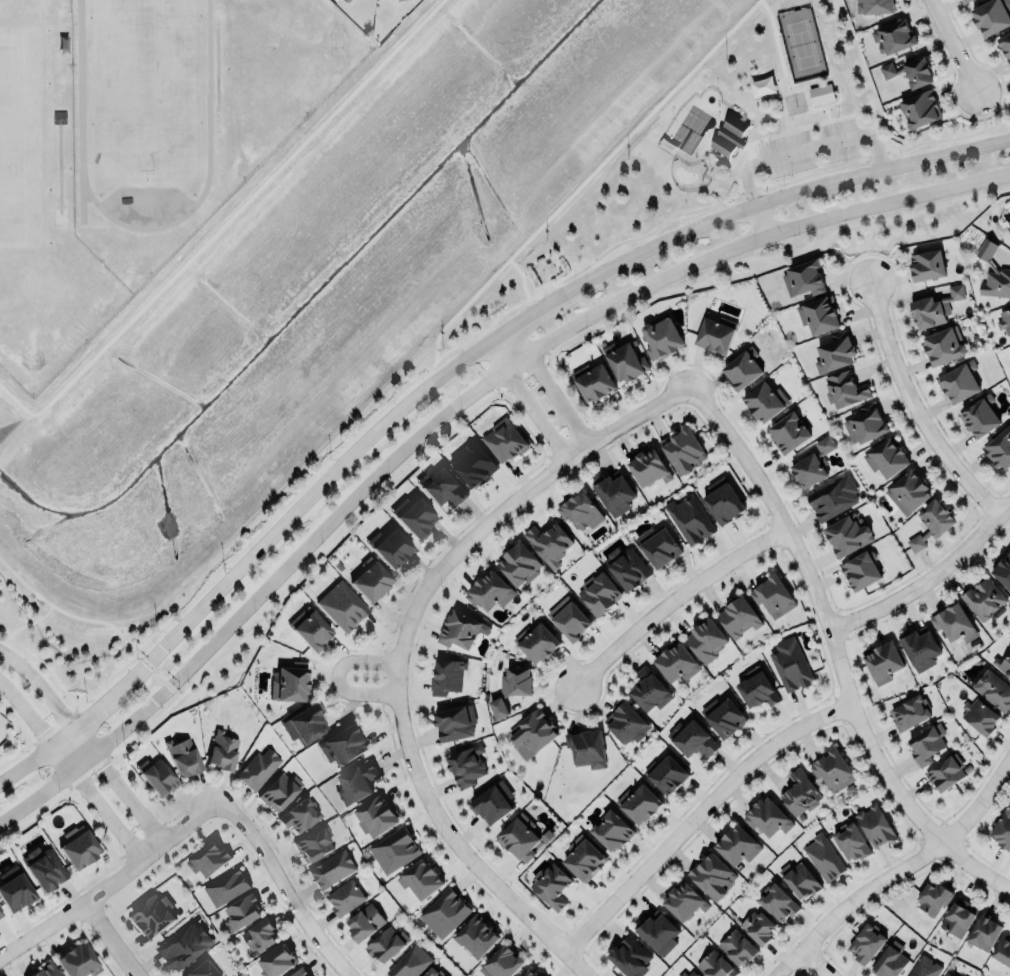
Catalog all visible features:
building: (346, 0)
building: (401, 0)
building: (966, 1)
building: (875, 6)
building: (992, 16)
building: (894, 38)
park: (802, 44)
building: (1005, 46)
road: (950, 48)
building: (911, 72)
building: (820, 94)
building: (920, 109)
road: (984, 120)
building: (730, 136)
water park: (701, 137)
parking lot: (809, 148)
road: (808, 149)
road: (761, 221)
building: (1009, 228)
road: (867, 243)
building: (985, 250)
building: (926, 265)
building: (803, 279)
building: (996, 283)
building: (935, 308)
building: (819, 315)
building: (1005, 321)
building: (716, 335)
building: (662, 338)
building: (944, 346)
building: (835, 355)
building: (628, 363)
road: (447, 367)
building: (742, 369)
building: (957, 381)
building: (593, 382)
road: (547, 383)
building: (844, 390)
road: (522, 400)
building: (765, 401)
road: (449, 407)
road: (914, 408)
building: (980, 417)
building: (865, 424)
building: (788, 433)
building: (505, 441)
building: (1000, 449)
building: (685, 452)
building: (888, 459)
building: (473, 464)
building: (813, 465)
building: (649, 469)
building: (441, 487)
building: (909, 493)
building: (614, 494)
building: (834, 498)
building: (724, 504)
road: (501, 508)
building: (581, 511)
building: (415, 517)
building: (689, 517)
building: (932, 524)
building: (848, 535)
building: (550, 544)
building: (390, 547)
building: (661, 548)
building: (519, 565)
building: (626, 567)
building: (861, 571)
building: (1003, 571)
road: (927, 575)
building: (371, 579)
building: (489, 591)
building: (773, 593)
building: (599, 594)
road: (669, 597)
building: (984, 598)
building: (342, 606)
road: (822, 613)
building: (738, 618)
building: (572, 622)
building: (953, 623)
building: (310, 628)
building: (461, 630)
building: (705, 639)
building: (537, 642)
traffic signals: (160, 646)
building: (920, 649)
road: (359, 659)
building: (676, 661)
building: (883, 662)
building: (790, 663)
building: (1003, 663)
building: (446, 676)
building: (290, 681)
building: (516, 682)
building: (756, 686)
building: (649, 688)
building: (994, 689)
road: (358, 693)
traffic signals: (153, 701)
building: (909, 713)
building: (979, 716)
building: (723, 717)
building: (626, 721)
building: (304, 722)
building: (456, 723)
building: (532, 732)
building: (692, 740)
road: (86, 741)
building: (926, 742)
building: (342, 744)
building: (587, 747)
building: (222, 749)
building: (183, 754)
building: (466, 763)
building: (258, 768)
building: (832, 768)
road: (70, 770)
building: (666, 772)
building: (946, 773)
building: (157, 776)
building: (357, 780)
building: (279, 791)
building: (800, 793)
building: (490, 804)
building: (638, 804)
building: (297, 813)
road: (694, 813)
building: (375, 814)
building: (767, 817)
building: (875, 824)
building: (1002, 827)
building: (612, 829)
building: (523, 836)
building: (851, 840)
building: (313, 842)
building: (737, 844)
building: (79, 846)
building: (394, 849)
road: (459, 852)
building: (583, 856)
building: (207, 857)
building: (821, 858)
building: (44, 866)
building: (331, 868)
road: (896, 869)
road: (974, 869)
building: (711, 875)
building: (420, 877)
building: (799, 878)
road: (109, 882)
building: (551, 883)
building: (226, 885)
road: (282, 886)
building: (14, 888)
building: (933, 897)
building: (345, 898)
building: (777, 900)
building: (684, 901)
building: (445, 912)
building: (1, 913)
building: (241, 913)
building: (152, 915)
building: (958, 916)
building: (365, 921)
building: (758, 927)
building: (656, 933)
building: (984, 933)
building: (259, 936)
building: (476, 937)
road: (111, 939)
building: (866, 942)
building: (184, 944)
building: (385, 945)
building: (732, 946)
building: (1003, 949)
building: (629, 956)
building: (78, 959)
building: (890, 960)
building: (276, 961)
building: (500, 961)
building: (410, 962)
road: (813, 963)
building: (715, 965)
building: (924, 967)
building: (201, 969)
building: (45, 970)
building: (298, 971)
building: (433, 972)
building: (530, 973)
building: (688, 974)
building: (948, 974)
building: (309, 975)

